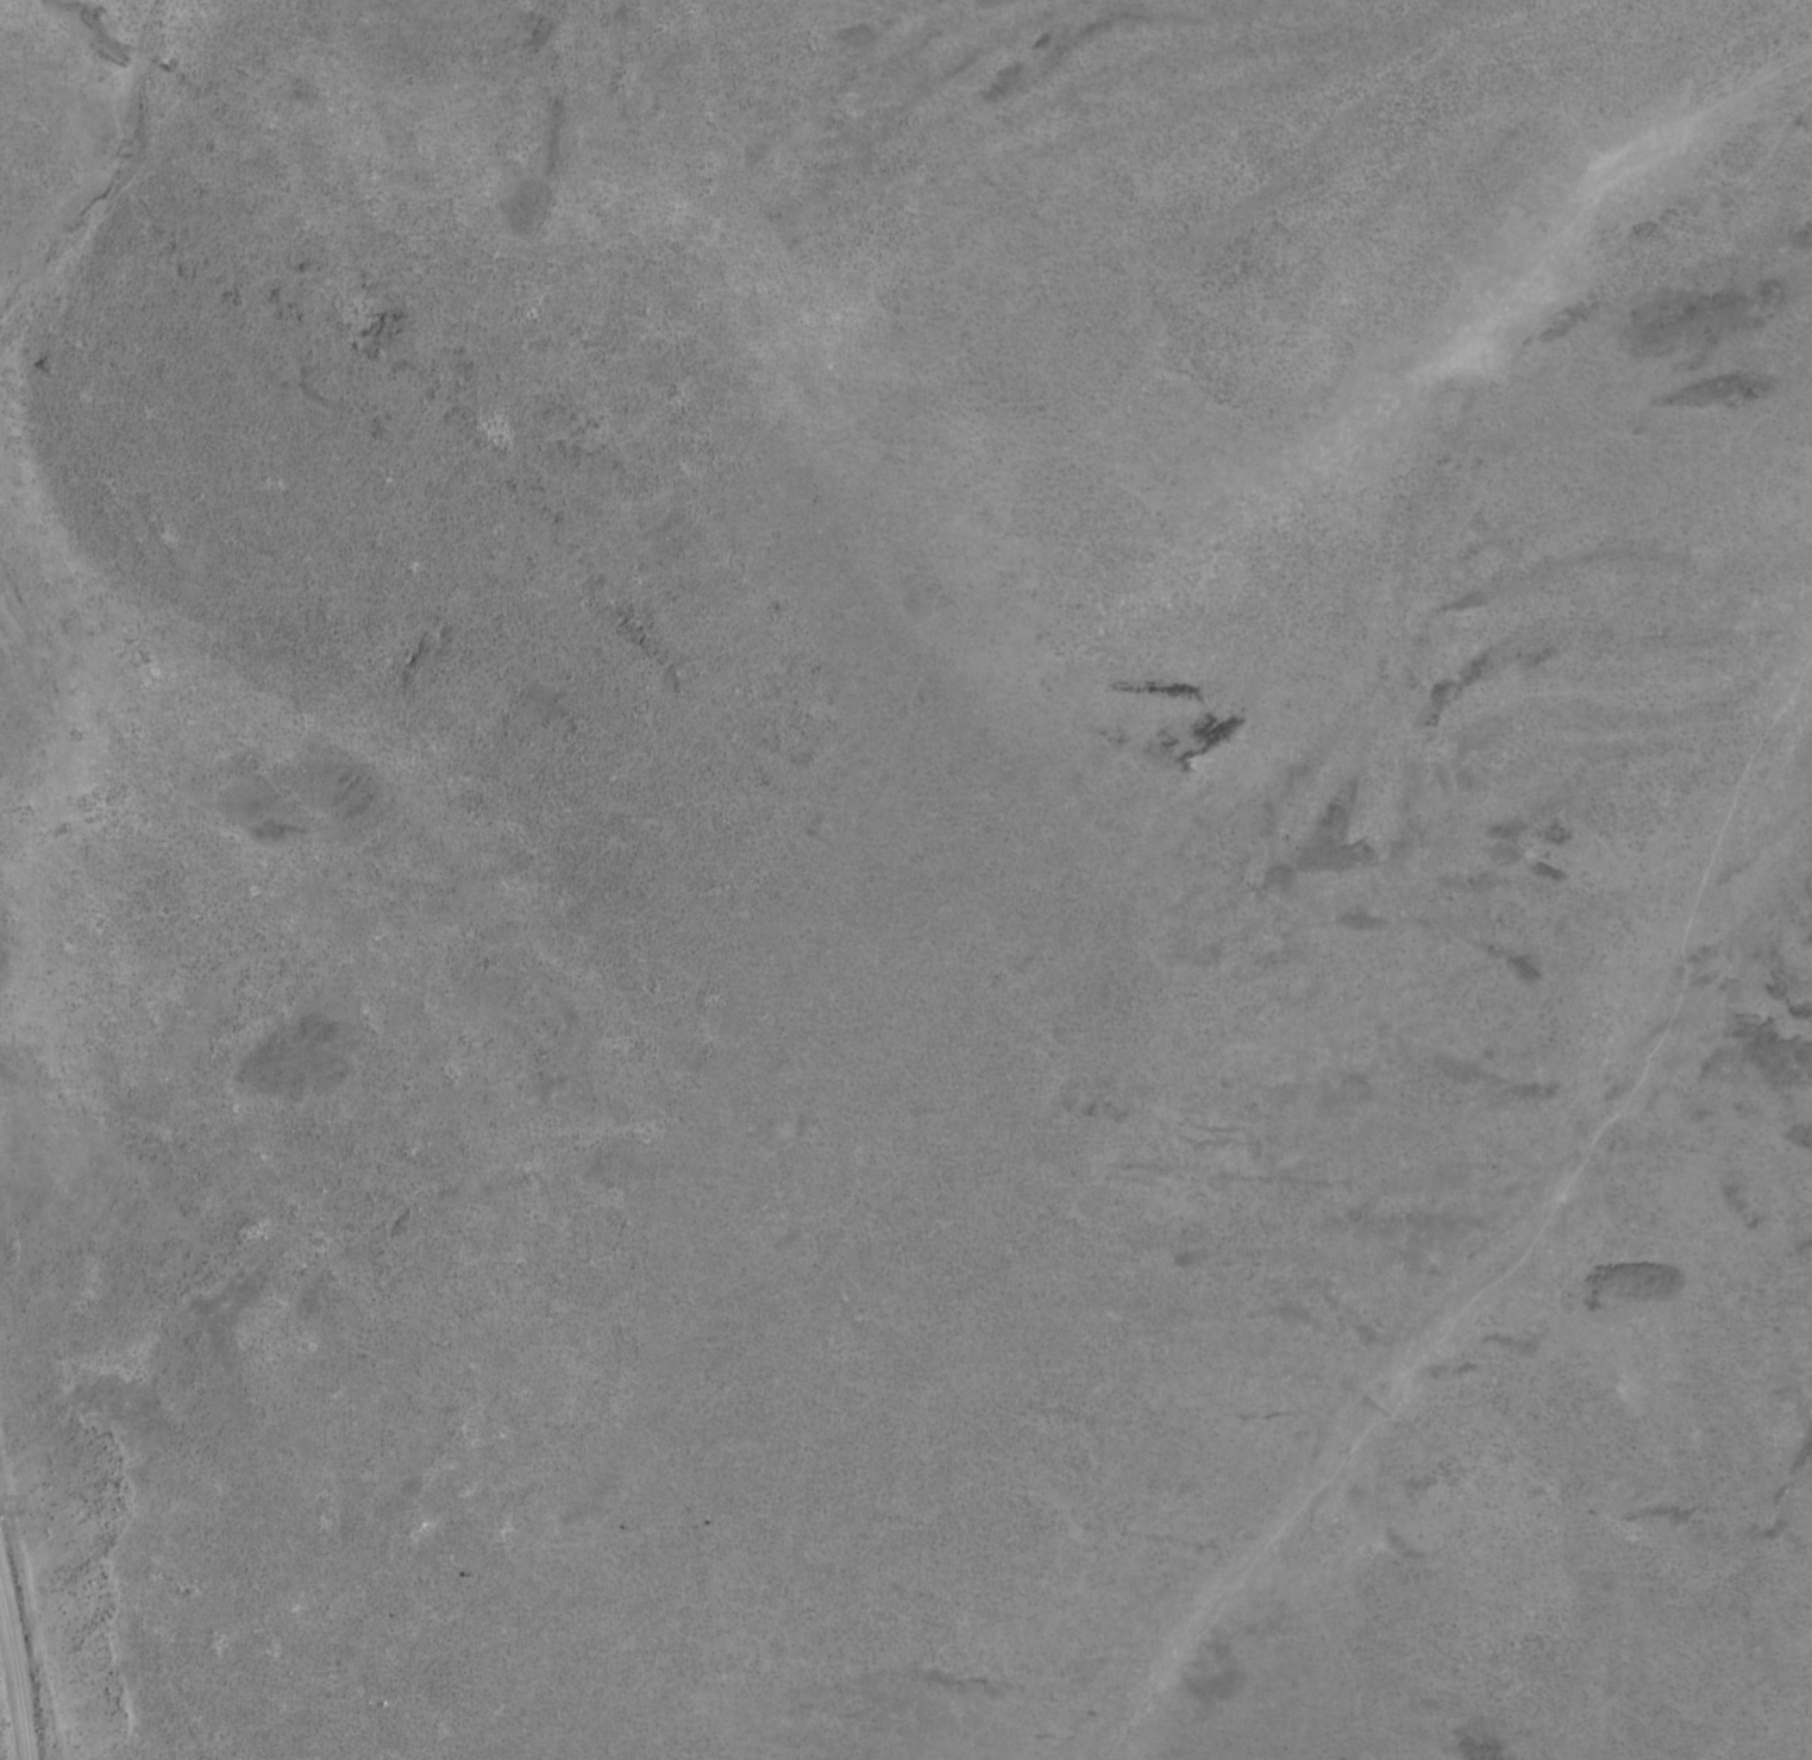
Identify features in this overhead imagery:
road: (14, 1683)

